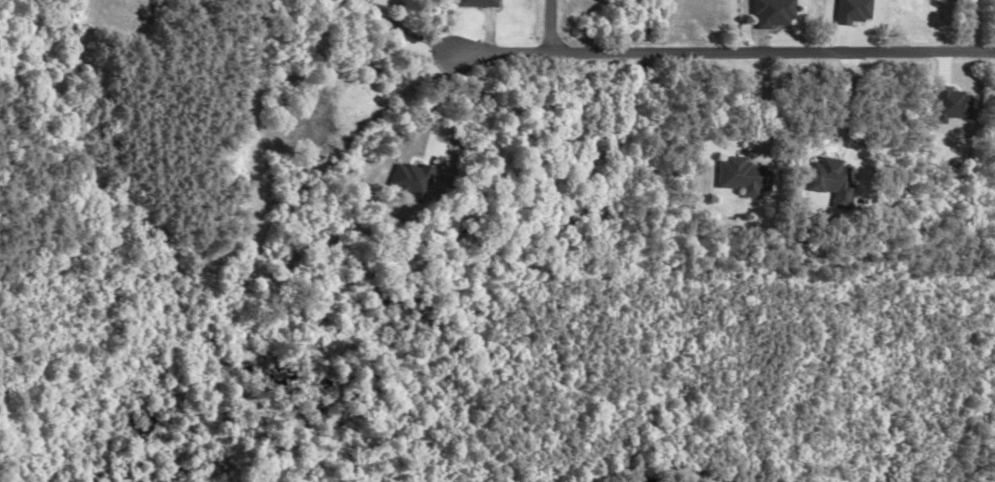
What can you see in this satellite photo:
building: (468, 4)
building: (764, 14)
road: (542, 25)
road: (724, 50)
road: (762, 103)
road: (833, 117)
building: (736, 177)
building: (826, 182)

